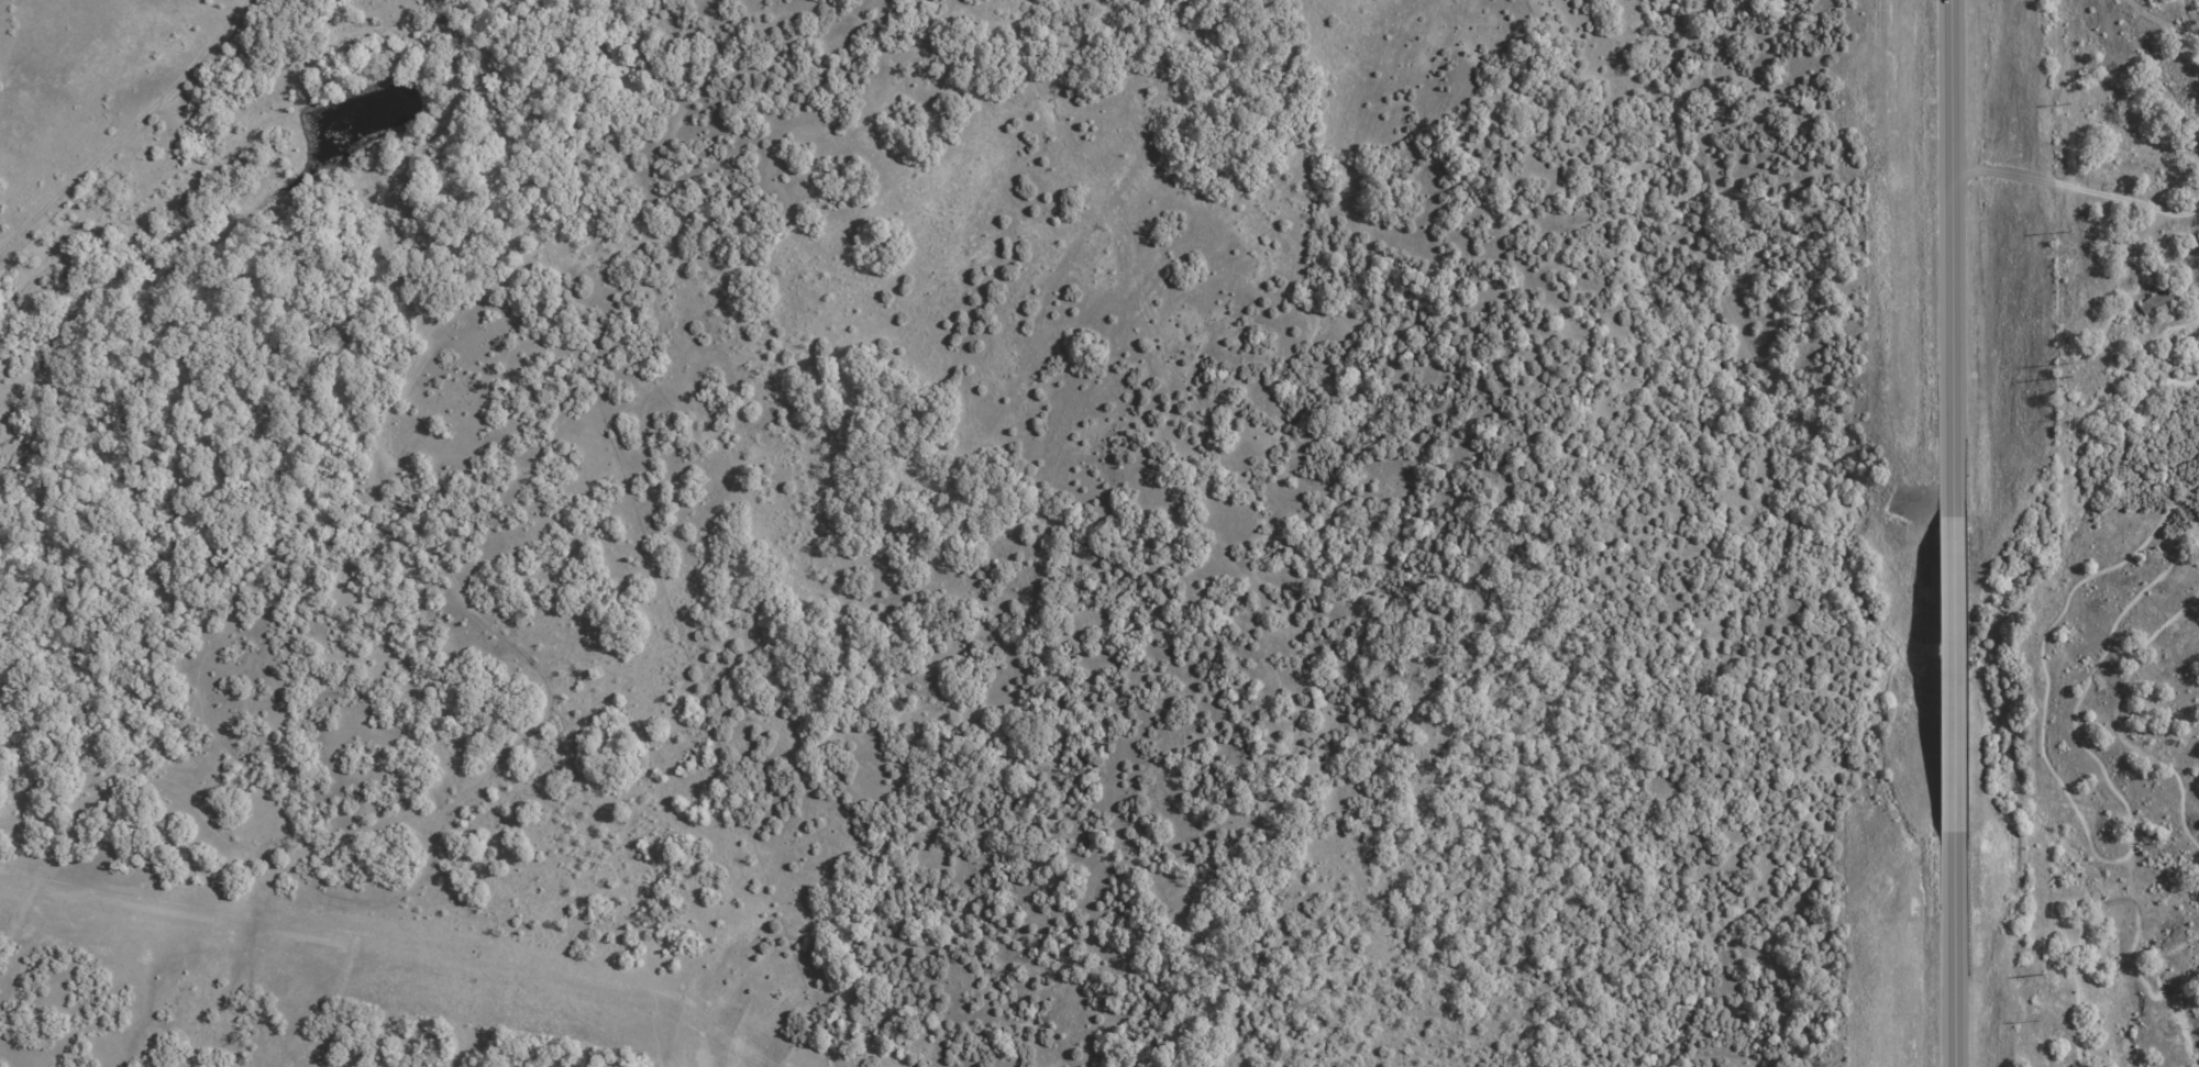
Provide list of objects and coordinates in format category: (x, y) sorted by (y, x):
road: (2076, 171)
road: (1952, 258)
building: (2158, 301)
road: (1955, 676)
road: (1956, 951)

